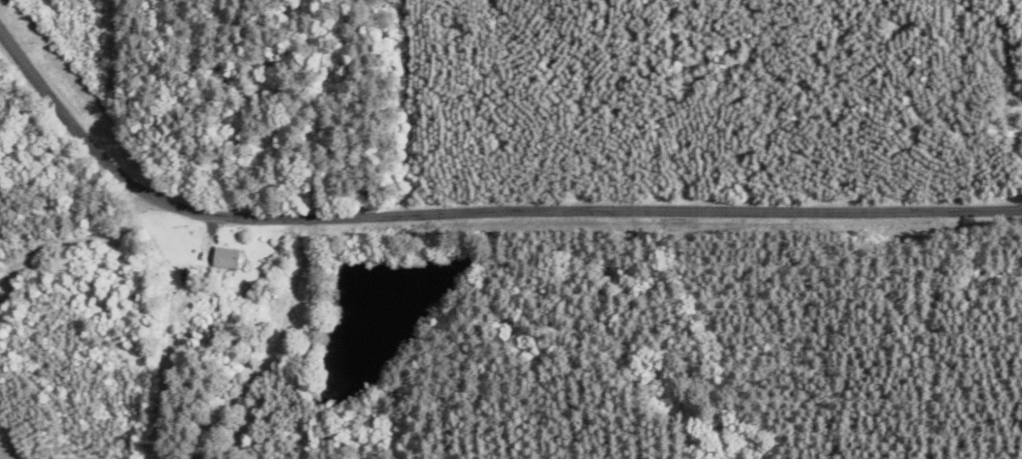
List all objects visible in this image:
road: (471, 213)
road: (72, 242)
building: (224, 259)

